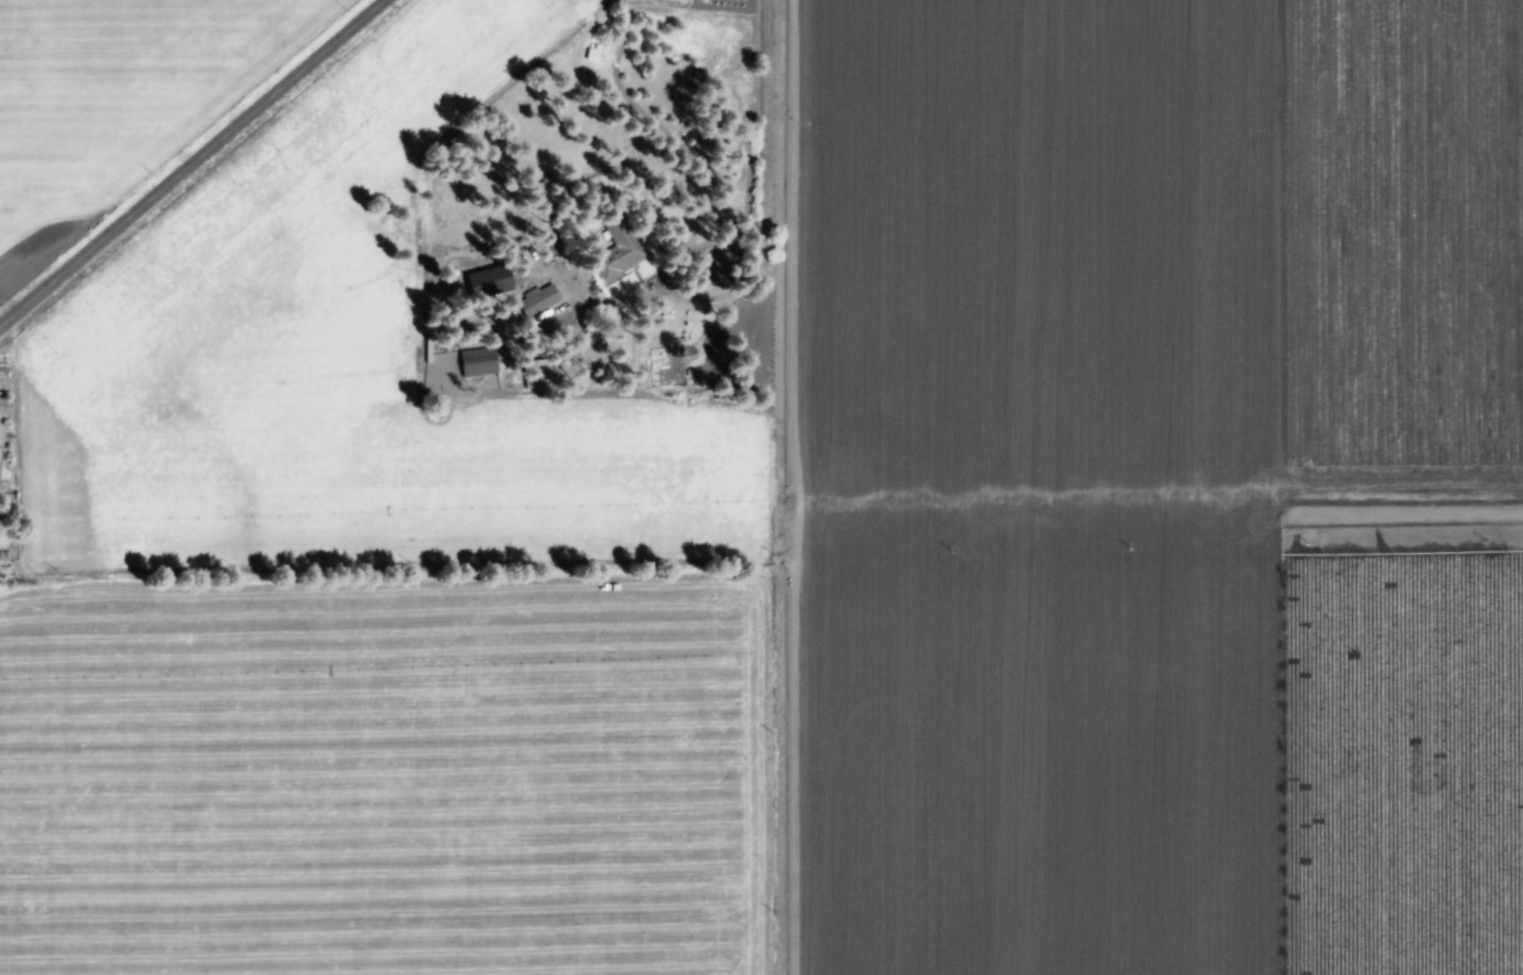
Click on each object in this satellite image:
road: (197, 166)
building: (625, 261)
building: (492, 283)
building: (541, 301)
road: (743, 321)
building: (480, 363)
building: (1, 460)

